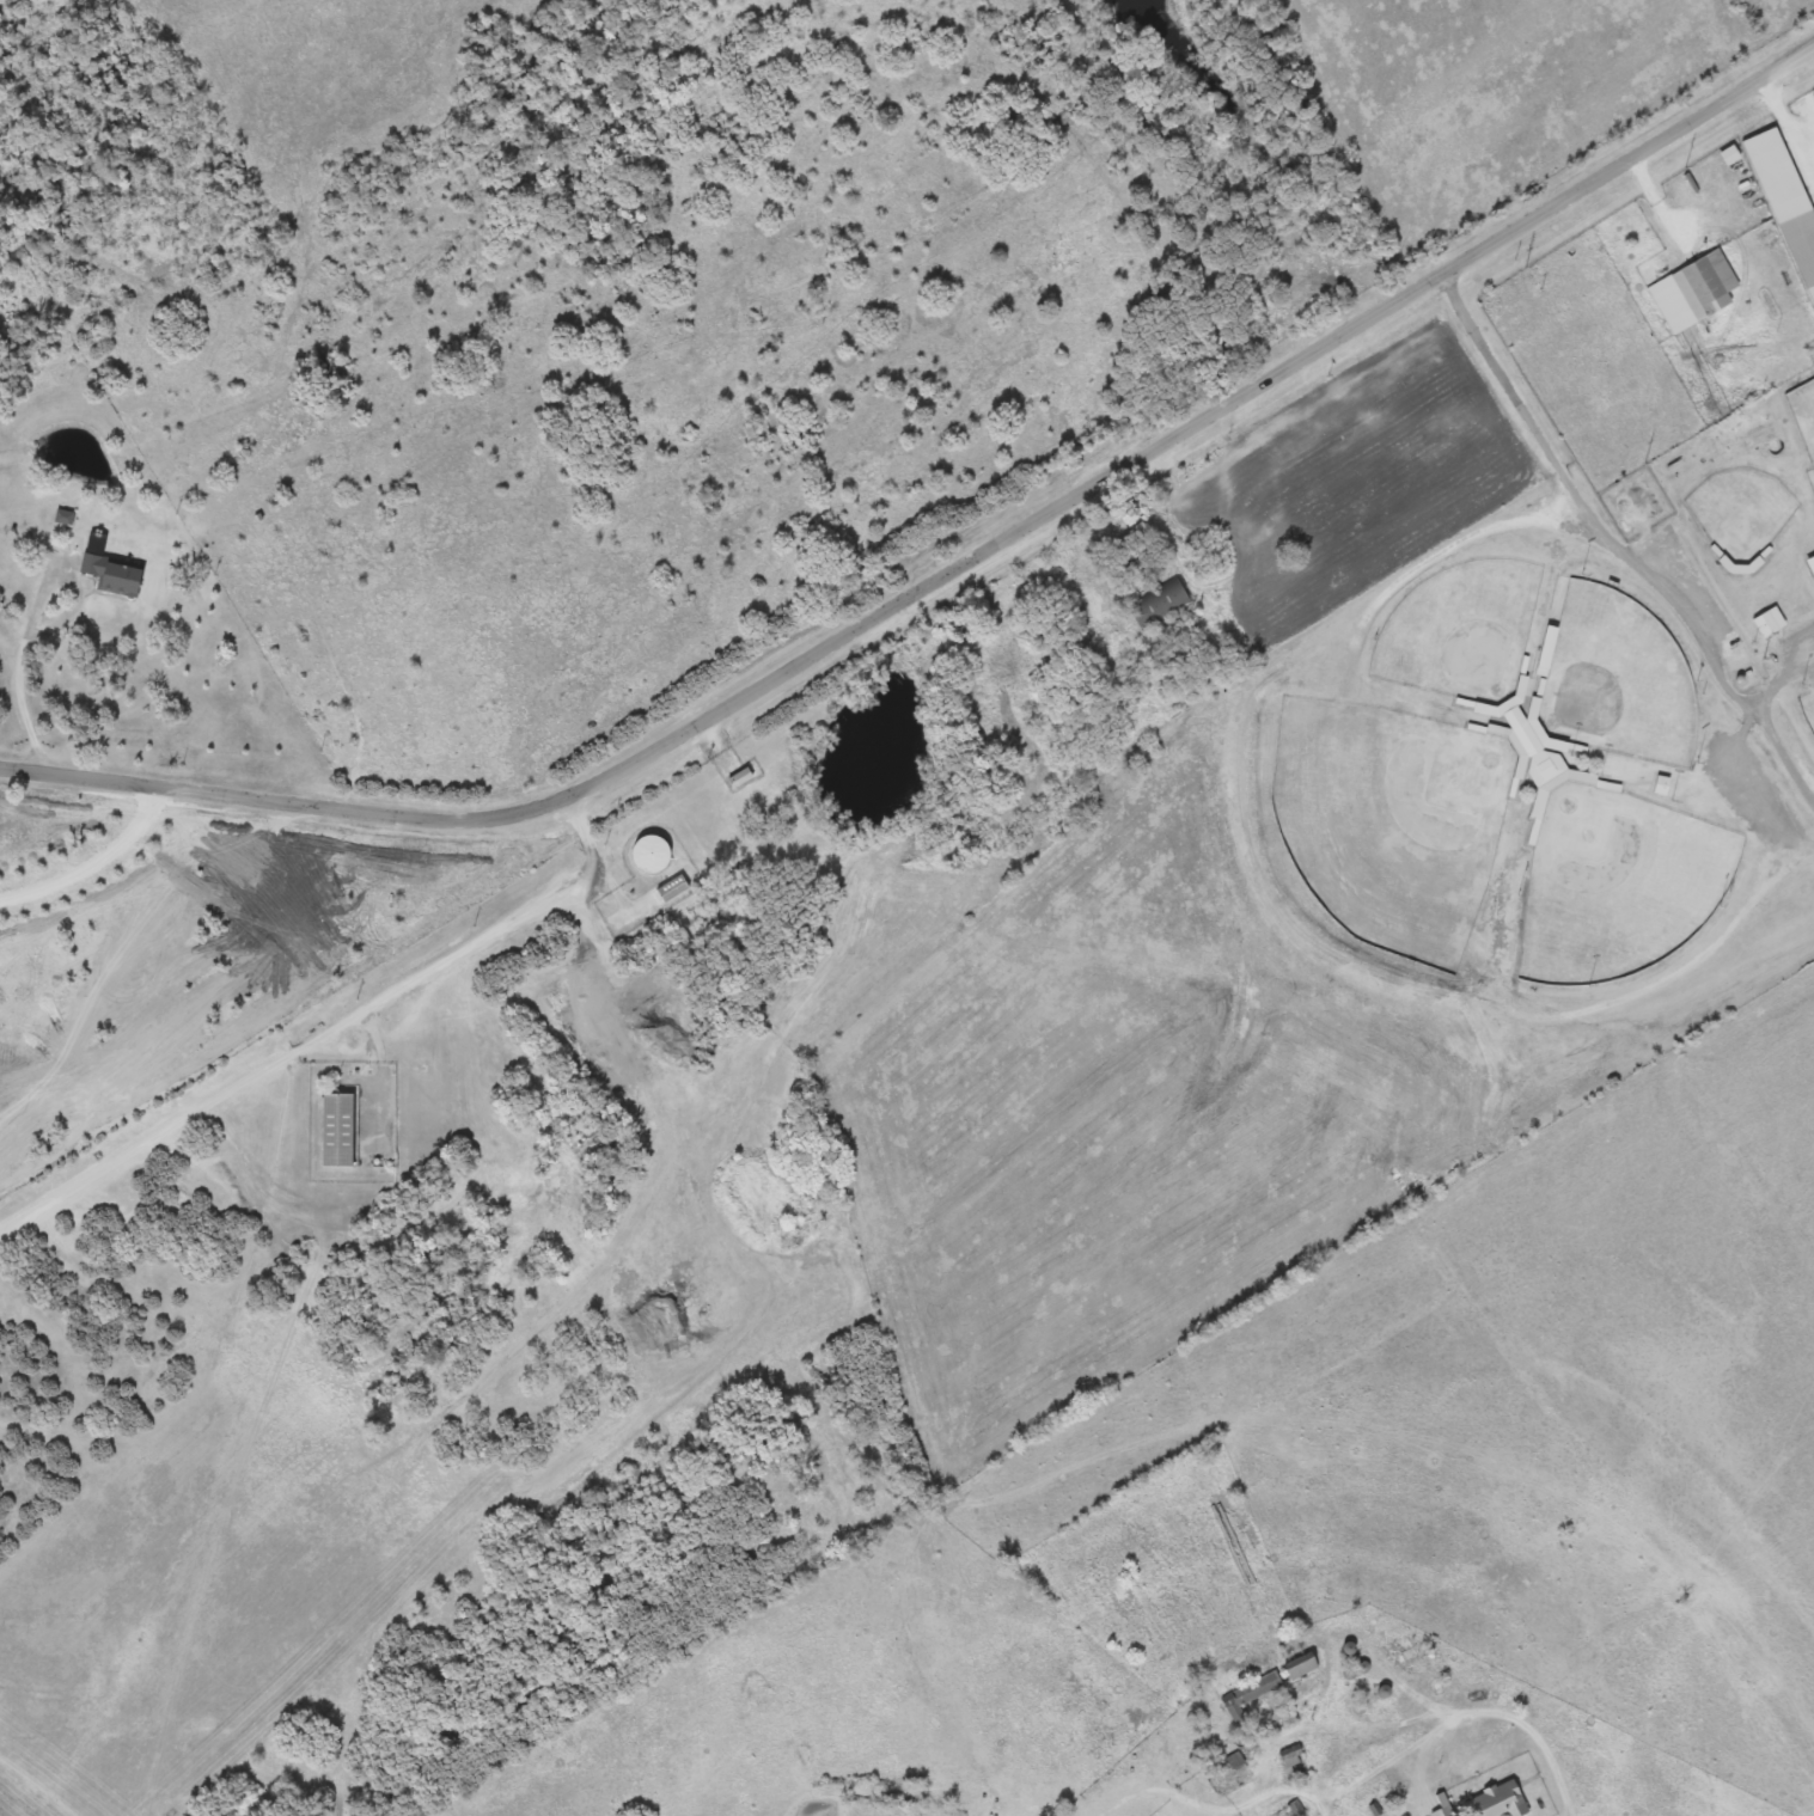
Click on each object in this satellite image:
building: (1802, 244)
building: (1699, 287)
building: (65, 516)
road: (1618, 548)
road: (947, 573)
building: (115, 575)
building: (1160, 605)
building: (1766, 625)
building: (740, 777)
building: (1661, 785)
building: (652, 852)
storage tank: (652, 852)
building: (673, 886)
road: (619, 895)
road: (586, 980)
road: (326, 1027)
road: (384, 1071)
building: (338, 1127)
building: (1400, 1651)
building: (1302, 1667)
building: (1251, 1695)
road: (1495, 1712)
building: (1235, 1760)
building: (1294, 1760)
dam: (23, 1797)
building: (1498, 1799)
road: (1217, 1806)
road: (1040, 1808)
building: (1445, 1810)

